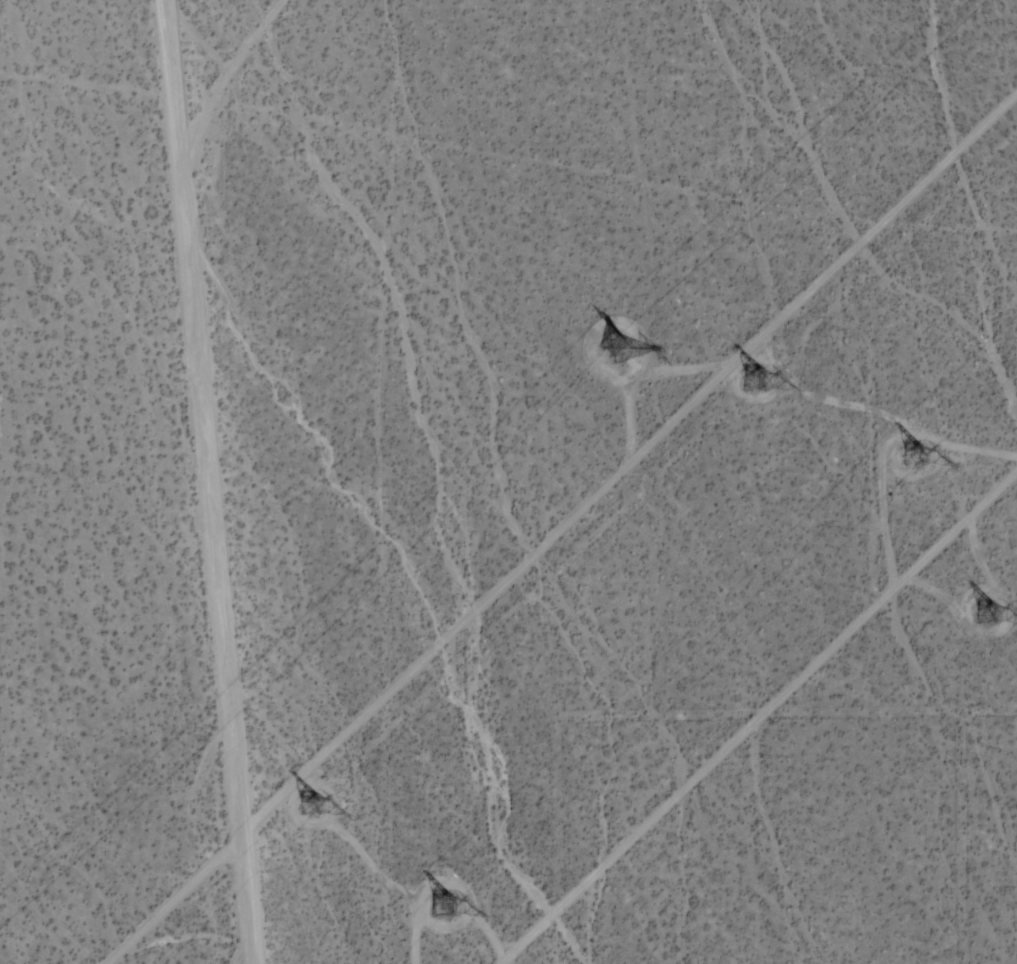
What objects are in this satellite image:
road: (228, 78)
power tower: (600, 346)
power tower: (755, 378)
power tower: (924, 449)
road: (208, 482)
road: (564, 530)
power tower: (987, 618)
road: (760, 719)
power tower: (315, 803)
power tower: (444, 907)

